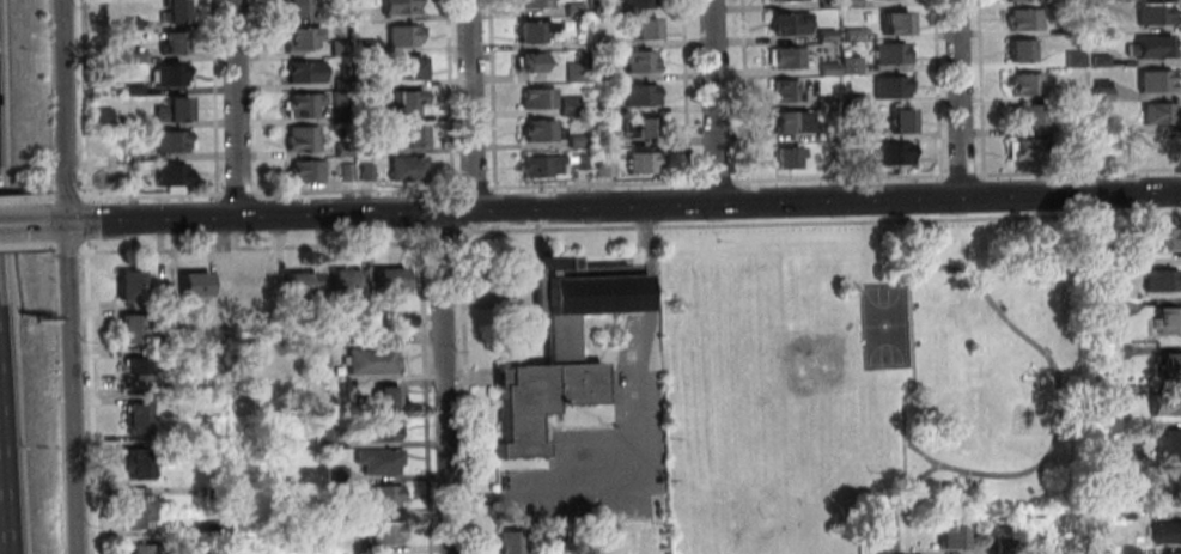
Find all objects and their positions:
building: (789, 0)
building: (537, 4)
building: (640, 4)
building: (854, 4)
building: (832, 5)
building: (402, 7)
building: (297, 10)
building: (174, 11)
building: (577, 11)
building: (602, 11)
building: (1159, 14)
building: (340, 19)
building: (1028, 20)
building: (130, 24)
building: (793, 25)
building: (899, 25)
building: (1077, 28)
building: (646, 30)
building: (534, 34)
building: (404, 36)
building: (857, 36)
building: (830, 37)
building: (304, 39)
building: (175, 44)
building: (603, 44)
building: (341, 49)
building: (367, 49)
building: (1156, 49)
building: (1025, 53)
building: (895, 55)
building: (583, 56)
building: (135, 57)
building: (787, 59)
building: (1079, 60)
building: (1103, 61)
building: (640, 62)
building: (530, 65)
building: (853, 66)
building: (412, 69)
building: (832, 69)
building: (305, 73)
building: (578, 73)
building: (170, 75)
building: (603, 75)
building: (370, 83)
building: (1161, 83)
building: (345, 85)
building: (1029, 86)
road: (940, 87)
building: (893, 89)
building: (134, 91)
road: (689, 91)
road: (748, 91)
building: (1106, 91)
building: (786, 92)
road: (495, 95)
building: (1080, 95)
road: (452, 97)
building: (643, 97)
road: (964, 98)
road: (258, 99)
building: (342, 99)
building: (540, 99)
road: (84, 101)
road: (215, 101)
road: (720, 101)
building: (859, 102)
building: (407, 103)
building: (829, 103)
building: (306, 105)
road: (474, 105)
building: (571, 106)
road: (238, 108)
building: (604, 109)
road: (63, 110)
building: (172, 111)
building: (836, 114)
building: (369, 115)
building: (1030, 115)
building: (1162, 115)
building: (102, 118)
building: (791, 123)
building: (905, 123)
building: (1107, 127)
building: (641, 128)
building: (1082, 128)
building: (542, 132)
building: (870, 135)
building: (416, 139)
building: (304, 140)
building: (608, 141)
building: (171, 142)
building: (580, 142)
building: (1164, 147)
building: (346, 150)
building: (371, 150)
building: (1027, 151)
building: (897, 154)
building: (791, 159)
building: (858, 159)
building: (1108, 160)
building: (583, 162)
building: (645, 164)
building: (542, 168)
building: (608, 169)
building: (410, 170)
building: (308, 172)
building: (369, 172)
building: (348, 173)
building: (174, 176)
road: (960, 176)
road: (842, 178)
road: (719, 183)
road: (597, 184)
road: (477, 188)
road: (358, 189)
road: (239, 194)
road: (73, 196)
road: (157, 196)
road: (55, 197)
road: (26, 199)
road: (623, 206)
road: (459, 209)
road: (229, 217)
road: (250, 217)
road: (87, 221)
road: (60, 223)
traffic signals: (67, 223)
road: (818, 223)
road: (26, 224)
road: (443, 233)
road: (238, 239)
building: (1162, 241)
road: (56, 245)
road: (28, 246)
road: (73, 246)
road: (255, 246)
building: (1115, 249)
road: (652, 261)
road: (68, 264)
building: (1118, 268)
building: (392, 282)
building: (1165, 282)
building: (348, 285)
building: (196, 287)
building: (303, 287)
building: (133, 288)
building: (1118, 311)
building: (379, 321)
building: (410, 322)
building: (1171, 322)
building: (365, 323)
park: (887, 327)
building: (134, 331)
building: (1121, 351)
building: (561, 354)
building: (375, 361)
building: (321, 364)
road: (919, 367)
building: (1173, 367)
building: (138, 376)
park: (877, 377)
road: (449, 382)
road: (428, 390)
road: (470, 390)
building: (1124, 394)
road: (1059, 395)
road: (93, 397)
building: (391, 400)
park: (781, 407)
building: (1167, 407)
building: (140, 421)
building: (386, 430)
road: (73, 431)
building: (1147, 432)
road: (5, 438)
building: (329, 438)
building: (1174, 448)
road: (925, 456)
building: (382, 463)
building: (142, 467)
building: (340, 475)
building: (1168, 483)
building: (218, 491)
road: (635, 493)
building: (388, 497)
building: (141, 513)
building: (347, 513)
building: (1127, 515)
building: (220, 528)
road: (891, 532)
road: (911, 532)
building: (386, 535)
building: (1169, 535)
building: (955, 540)
building: (512, 542)
building: (1009, 547)
building: (148, 549)
building: (1133, 552)
building: (1170, 552)

